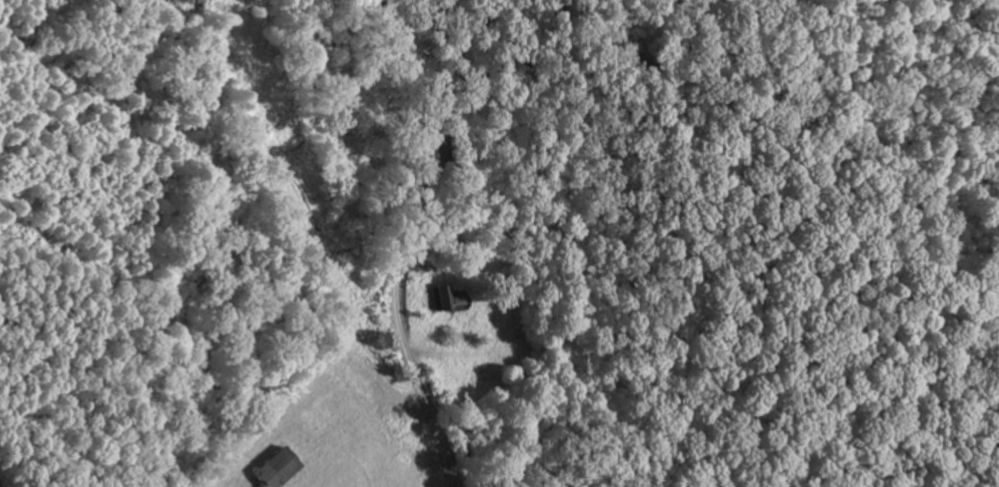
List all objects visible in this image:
road: (410, 241)
building: (451, 297)
building: (272, 469)

